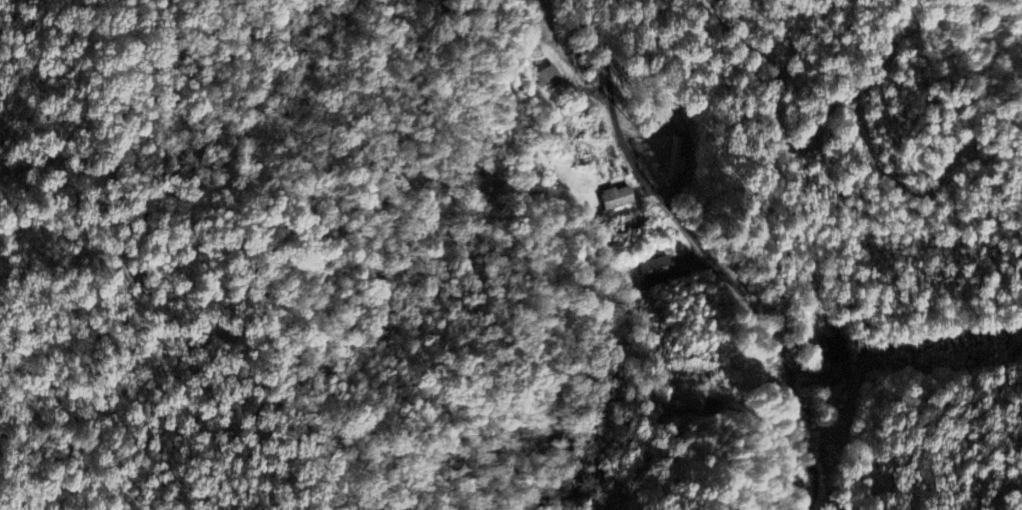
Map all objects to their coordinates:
building: (536, 51)
building: (549, 77)
road: (661, 102)
building: (676, 156)
building: (617, 196)
road: (700, 245)
building: (656, 267)
building: (836, 349)
building: (680, 404)
road: (781, 443)

